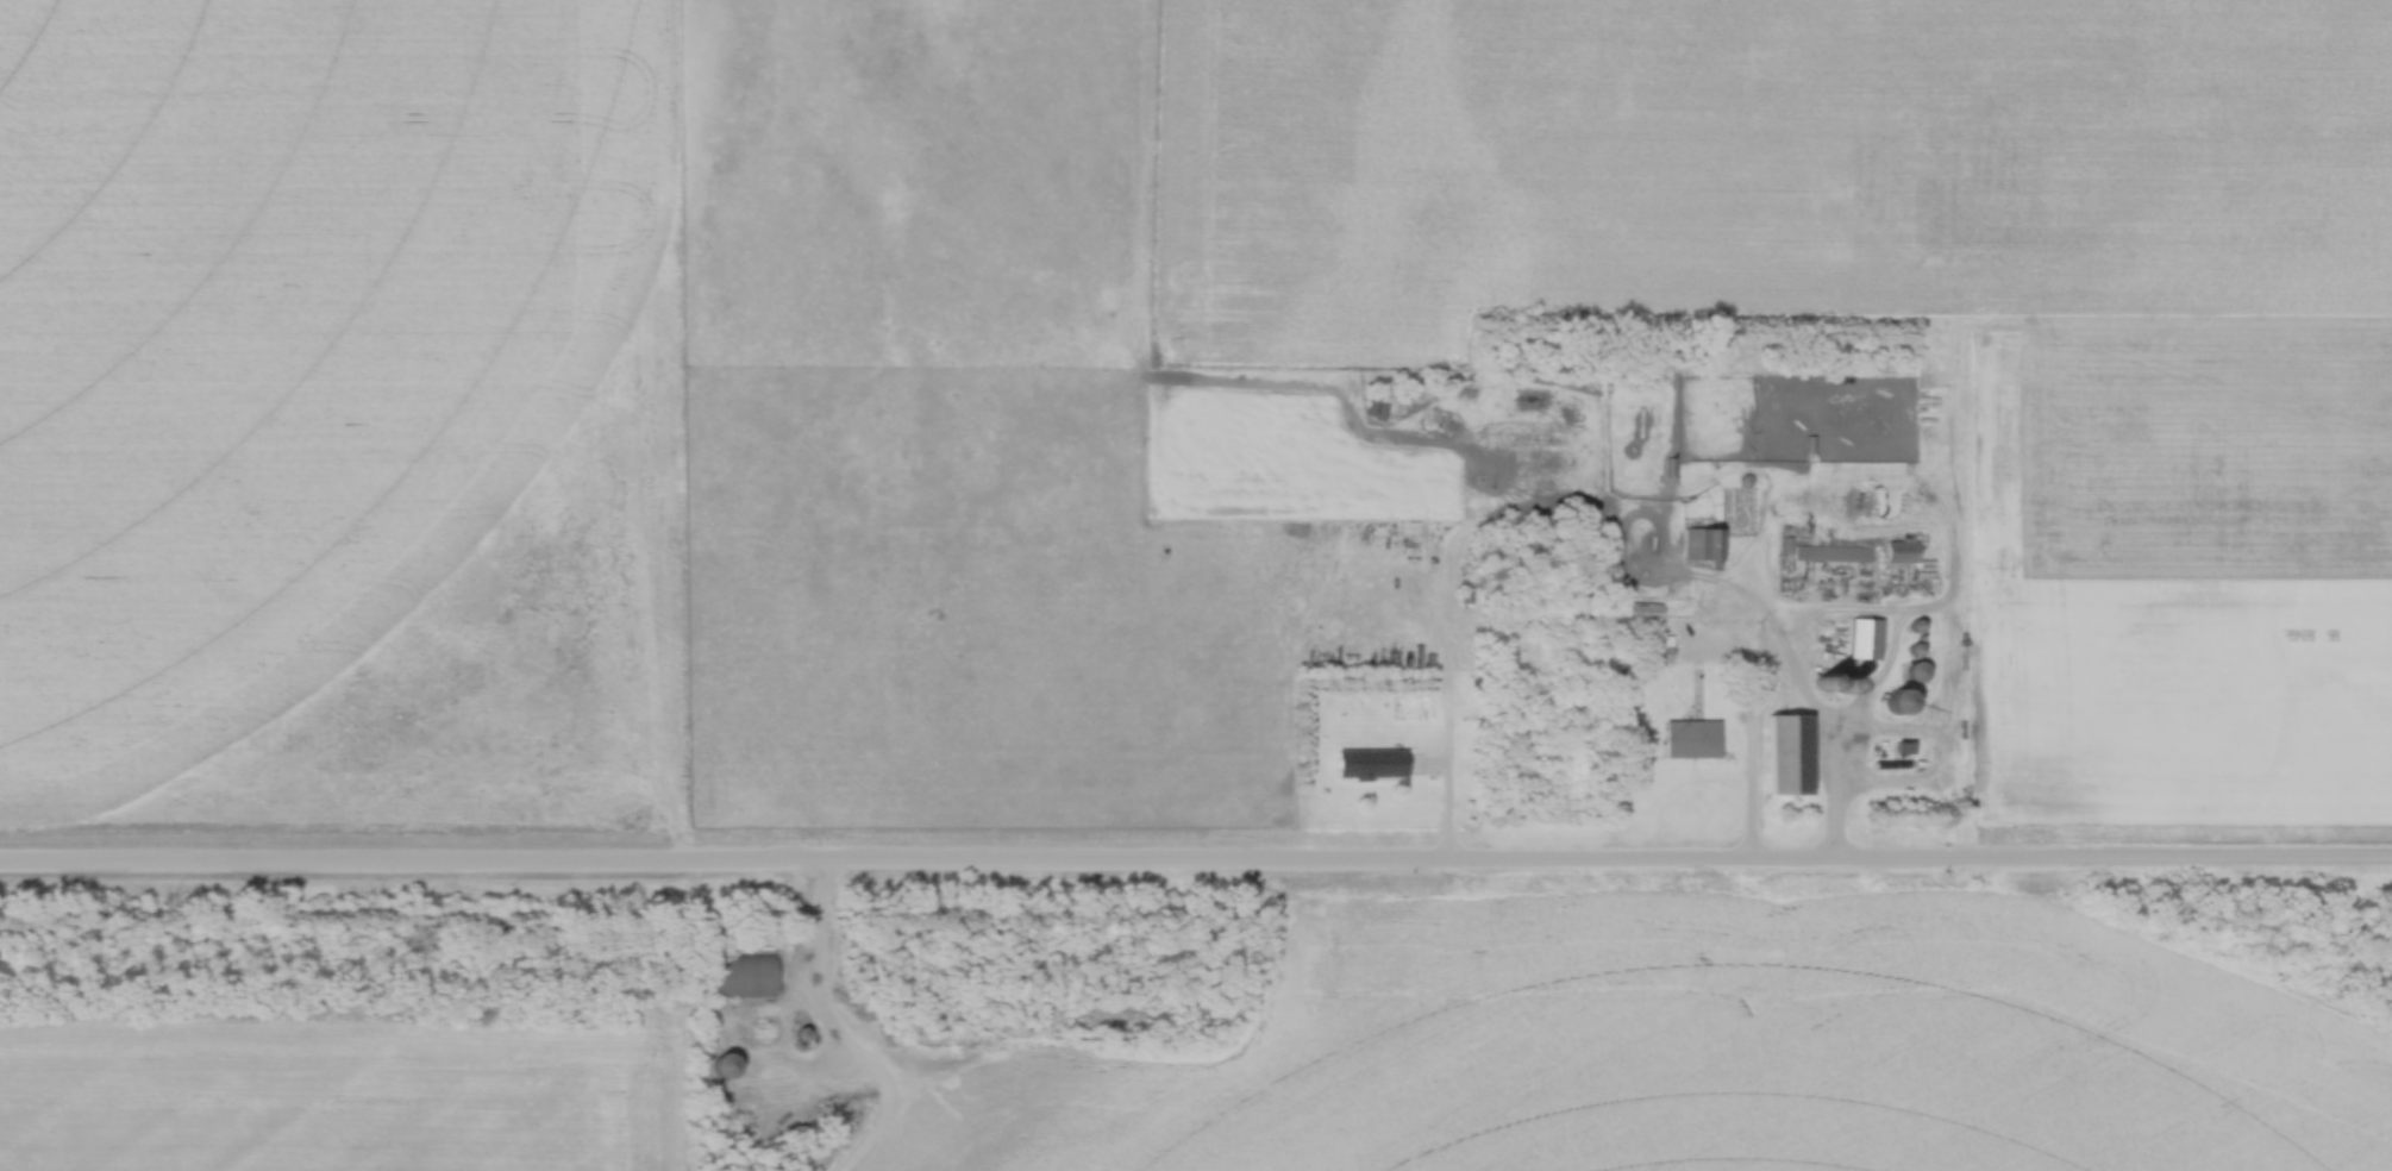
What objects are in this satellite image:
building: (1701, 547)
building: (1899, 553)
building: (1833, 557)
building: (1641, 613)
building: (1822, 633)
building: (1865, 641)
building: (1658, 657)
building: (1912, 674)
building: (1837, 685)
road: (1752, 695)
building: (1892, 705)
building: (1687, 741)
road: (1835, 765)
building: (1366, 766)
road: (1195, 862)
road: (814, 931)
building: (733, 977)
building: (759, 1031)

